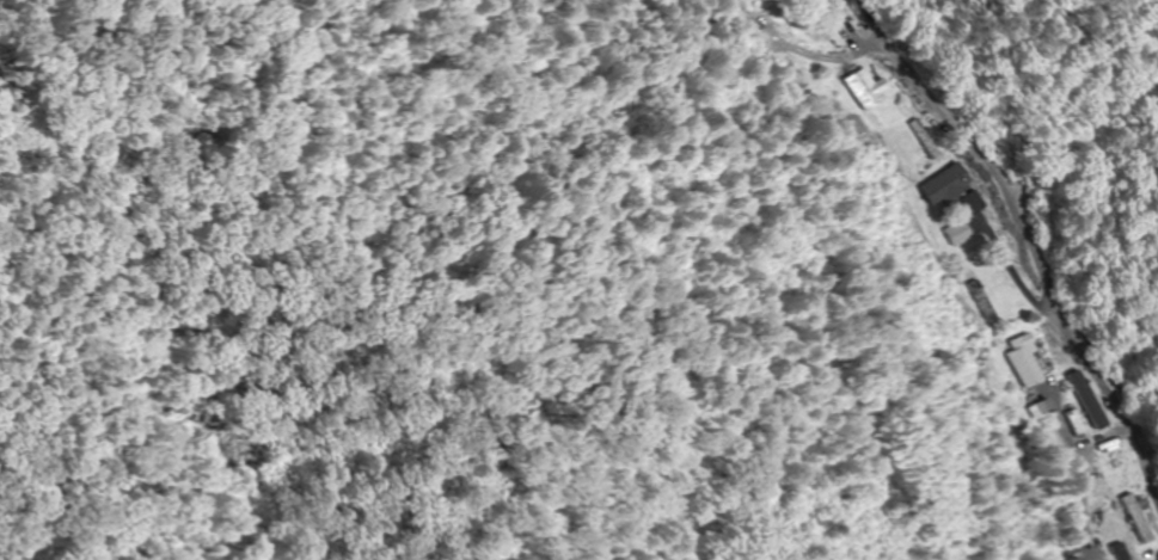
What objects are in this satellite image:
building: (869, 90)
building: (926, 140)
building: (949, 185)
building: (963, 234)
building: (1031, 361)
building: (1141, 519)

